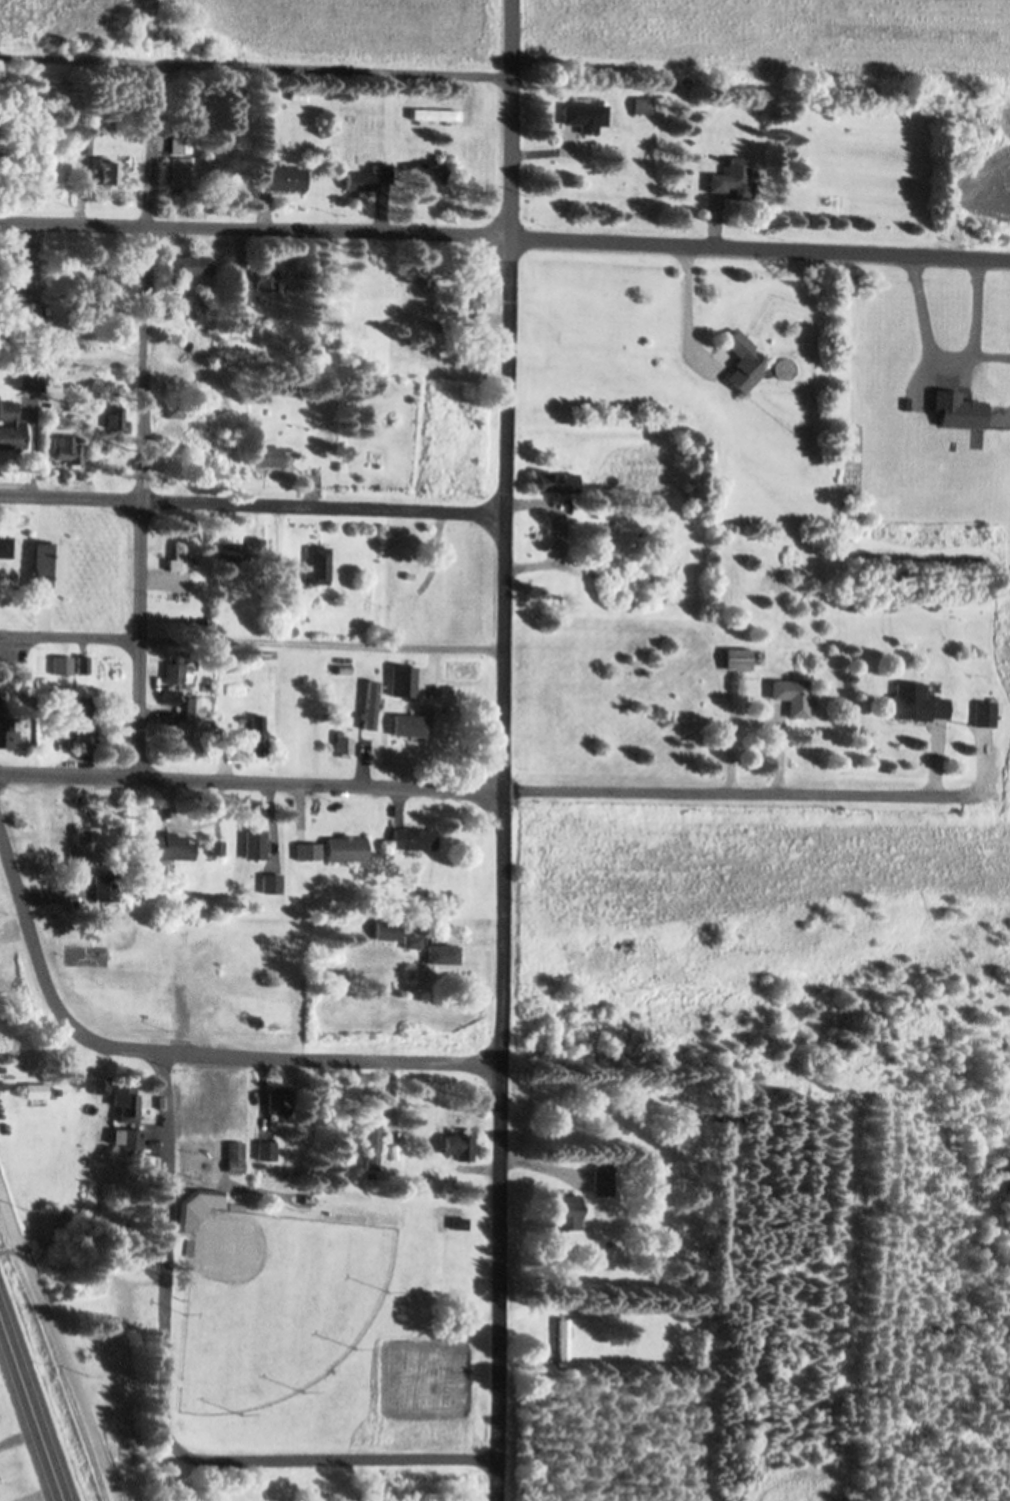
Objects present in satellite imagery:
building: (208, 52)
road: (255, 67)
building: (355, 93)
building: (643, 103)
building: (236, 105)
building: (435, 112)
building: (585, 113)
building: (707, 113)
building: (84, 139)
building: (181, 140)
building: (414, 163)
building: (442, 169)
building: (106, 170)
building: (181, 170)
building: (369, 175)
building: (284, 176)
building: (733, 176)
road: (253, 229)
road: (758, 252)
building: (187, 266)
building: (267, 277)
building: (110, 278)
building: (418, 281)
building: (323, 289)
building: (241, 290)
building: (5, 294)
building: (467, 296)
building: (204, 300)
building: (104, 305)
building: (28, 309)
building: (742, 359)
building: (32, 383)
building: (283, 385)
building: (957, 407)
building: (175, 408)
building: (116, 414)
building: (75, 416)
road: (142, 419)
building: (11, 426)
building: (68, 447)
building: (267, 452)
building: (711, 452)
building: (556, 480)
road: (251, 504)
building: (5, 544)
building: (236, 552)
building: (178, 554)
building: (975, 557)
building: (318, 564)
building: (274, 598)
building: (192, 618)
road: (69, 637)
road: (320, 645)
building: (737, 656)
building: (63, 663)
building: (83, 665)
building: (176, 671)
building: (1, 690)
building: (171, 693)
building: (793, 694)
building: (401, 698)
building: (917, 700)
building: (369, 703)
building: (986, 712)
building: (86, 720)
building: (188, 722)
building: (407, 723)
building: (8, 732)
building: (256, 735)
building: (342, 745)
building: (441, 746)
road: (501, 750)
road: (487, 790)
building: (410, 835)
building: (254, 841)
building: (85, 843)
building: (170, 843)
building: (215, 845)
building: (344, 845)
building: (307, 850)
building: (269, 881)
building: (105, 885)
building: (410, 939)
building: (441, 951)
road: (181, 1055)
building: (78, 1078)
building: (99, 1082)
building: (0, 1083)
building: (32, 1088)
building: (53, 1089)
building: (276, 1100)
building: (370, 1103)
building: (126, 1113)
building: (371, 1144)
building: (457, 1145)
building: (263, 1147)
building: (232, 1154)
building: (428, 1168)
building: (368, 1173)
building: (599, 1173)
building: (306, 1198)
building: (193, 1204)
building: (233, 1204)
building: (565, 1209)
building: (343, 1215)
park: (279, 1221)
building: (457, 1221)
building: (186, 1245)
building: (99, 1280)
building: (452, 1298)
building: (125, 1301)
building: (560, 1340)
road: (58, 1351)
road: (30, 1415)
road: (162, 1416)

